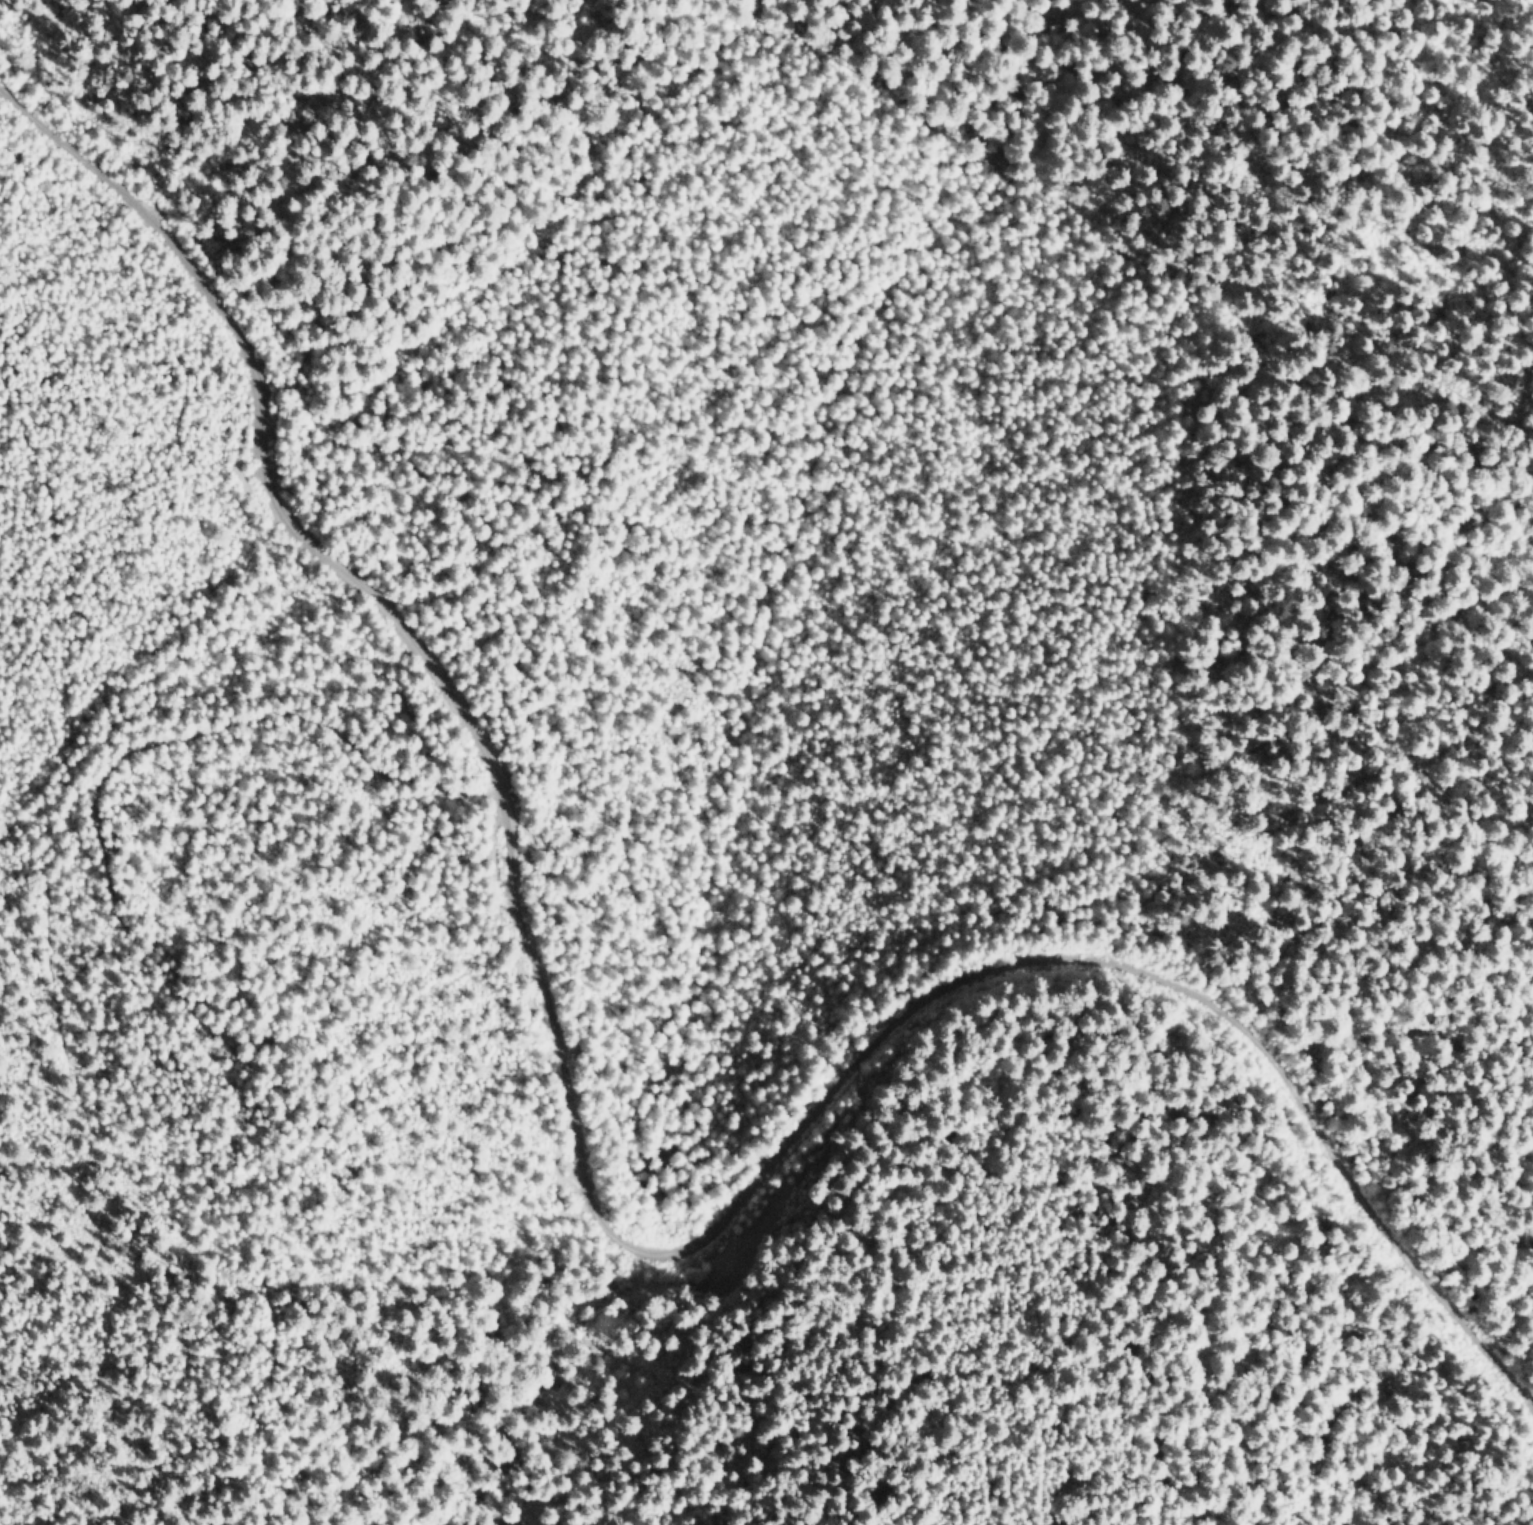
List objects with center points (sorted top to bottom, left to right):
road: (580, 1196)

